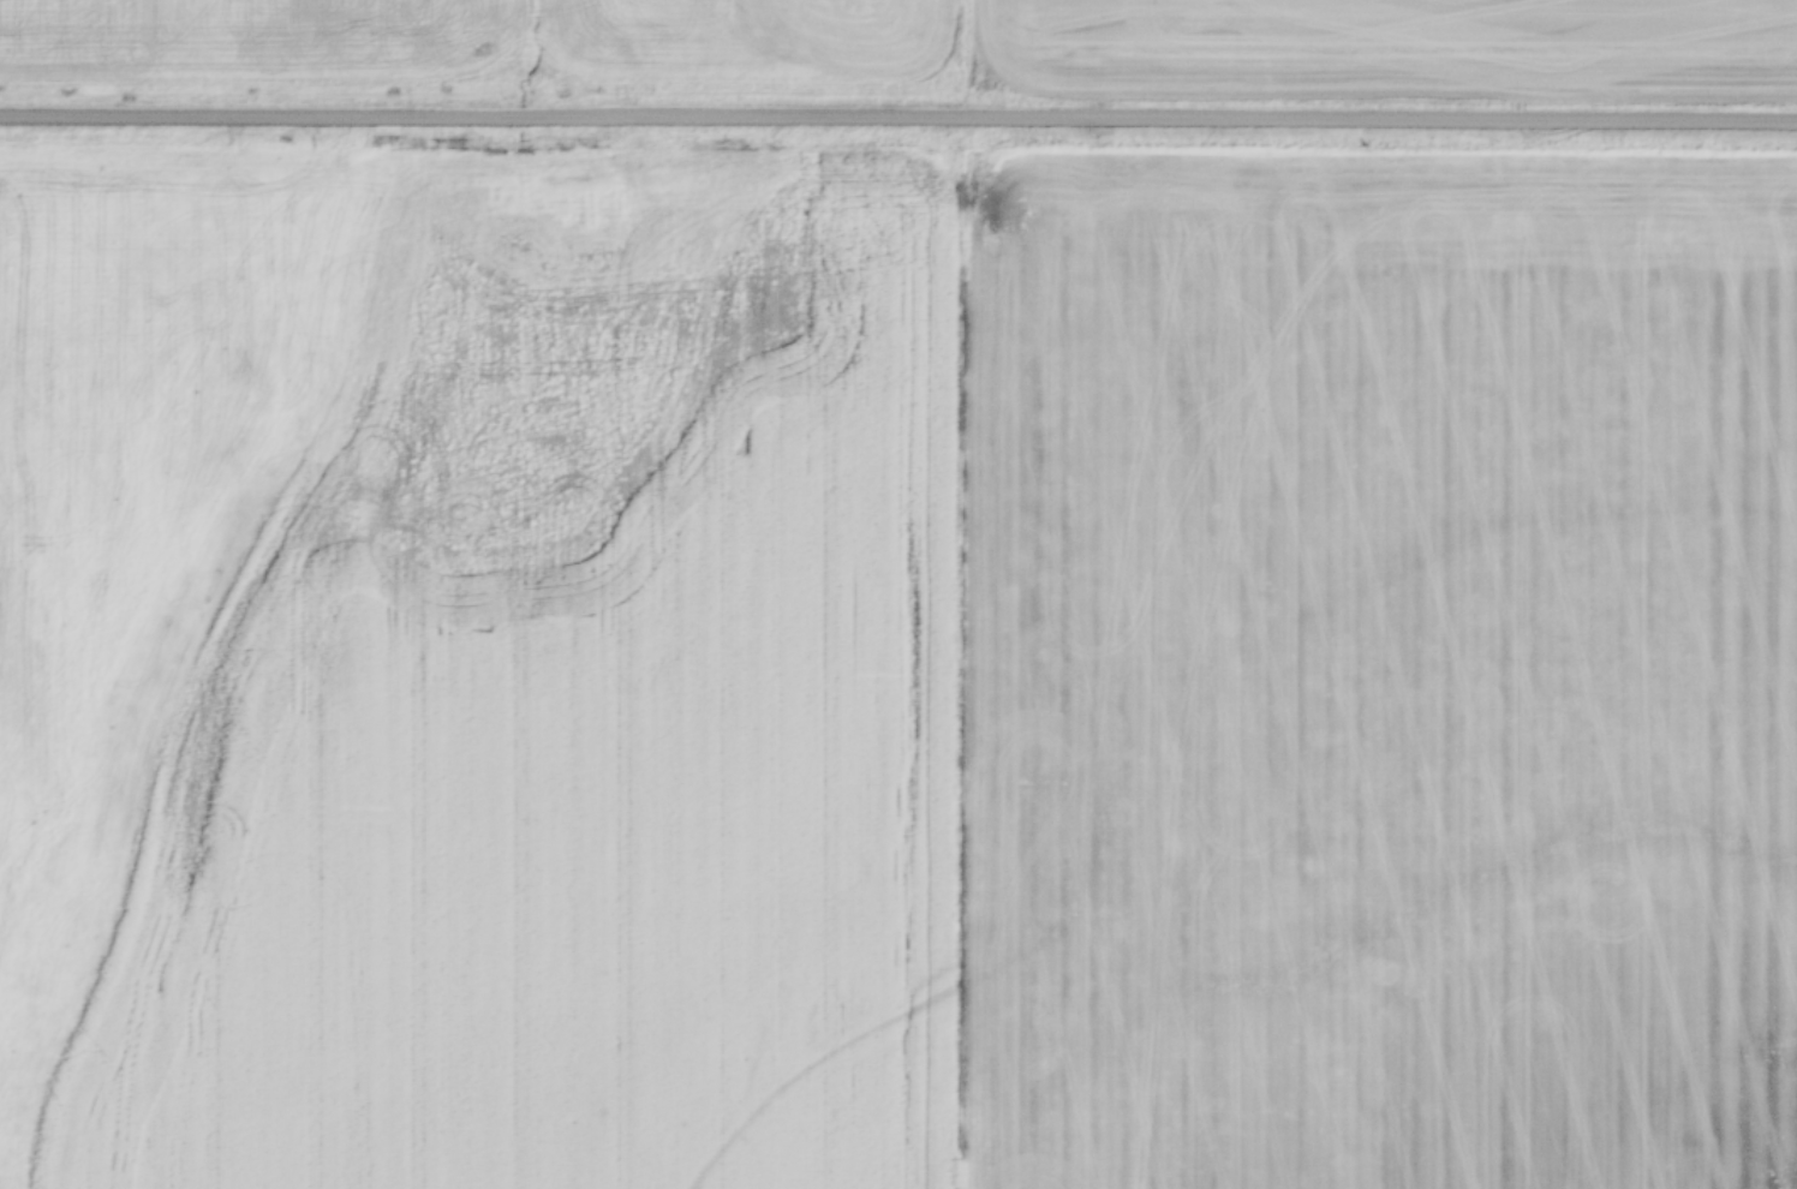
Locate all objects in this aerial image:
road: (897, 120)

